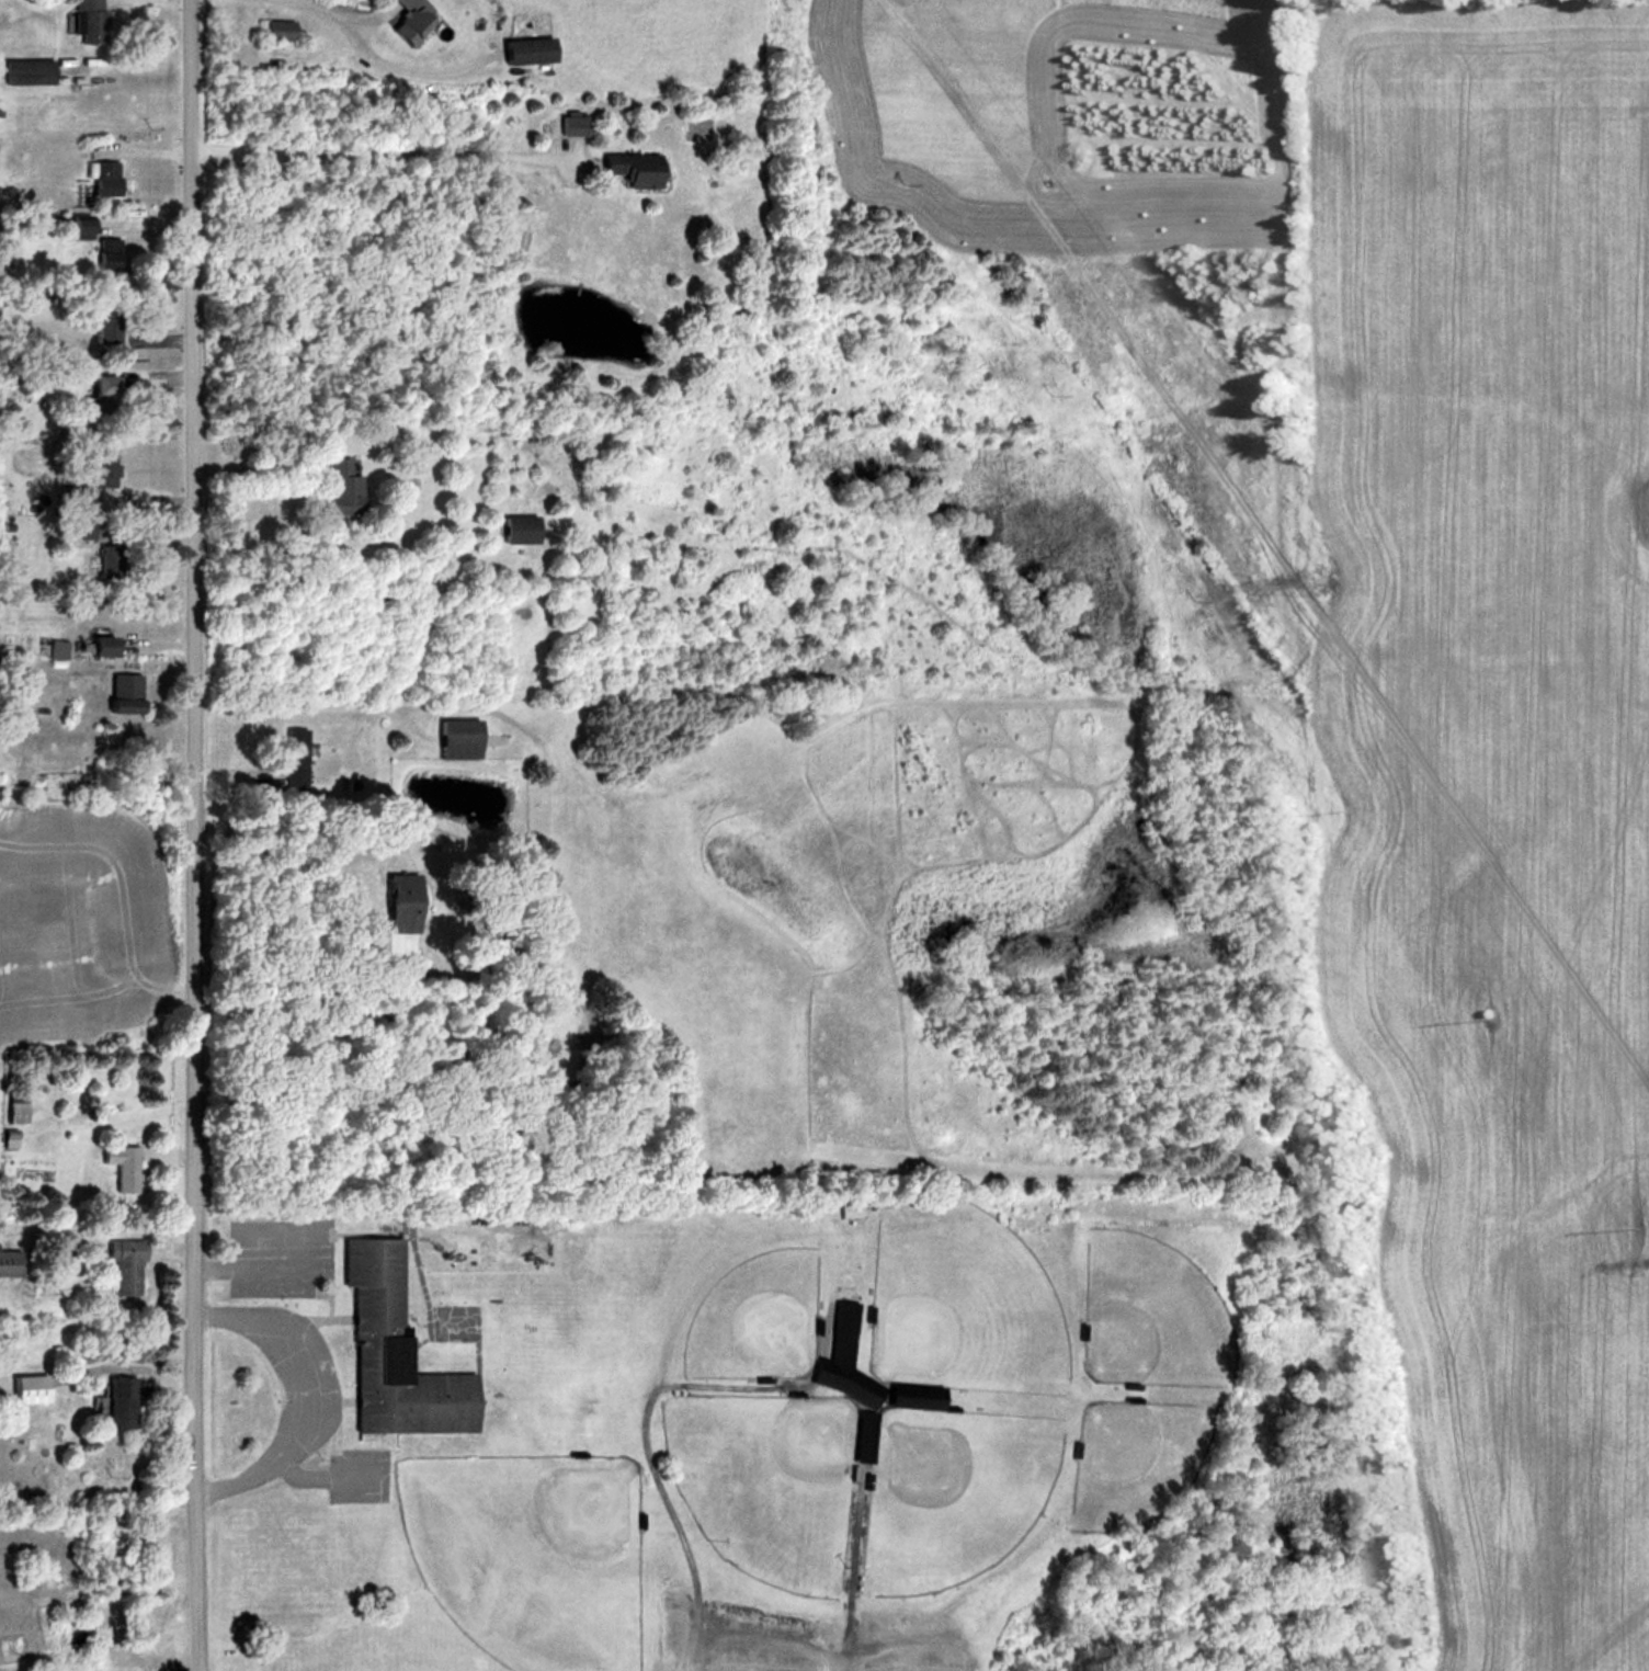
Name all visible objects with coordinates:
road: (329, 14)
building: (274, 21)
building: (521, 46)
road: (378, 154)
building: (623, 166)
building: (98, 172)
building: (102, 468)
building: (81, 527)
building: (518, 527)
building: (106, 560)
power tower: (1321, 579)
building: (102, 645)
building: (123, 692)
building: (458, 737)
building: (294, 757)
road: (195, 835)
building: (14, 1107)
building: (120, 1164)
building: (9, 1262)
building: (124, 1264)
building: (389, 1346)
building: (29, 1387)
building: (914, 1395)
building: (120, 1401)
building: (863, 1434)
road: (912, 1640)

